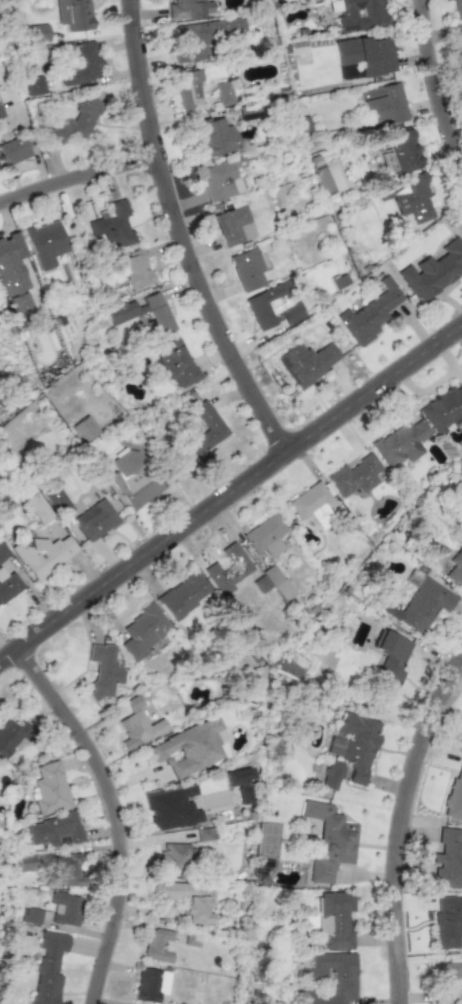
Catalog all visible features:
building: (457, 8)
building: (189, 9)
building: (73, 14)
building: (361, 15)
building: (38, 33)
building: (203, 36)
building: (461, 41)
building: (366, 54)
building: (81, 64)
building: (34, 85)
road: (433, 87)
building: (189, 89)
building: (224, 93)
building: (383, 103)
building: (1, 112)
building: (74, 121)
building: (216, 136)
building: (13, 150)
building: (400, 151)
building: (220, 179)
building: (322, 179)
road: (75, 181)
building: (409, 197)
building: (113, 225)
building: (233, 225)
road: (177, 236)
building: (45, 243)
building: (12, 265)
building: (133, 269)
building: (247, 269)
building: (436, 270)
building: (21, 305)
building: (273, 306)
building: (144, 313)
building: (366, 317)
building: (306, 362)
building: (174, 363)
building: (443, 409)
building: (205, 431)
building: (399, 443)
building: (354, 475)
building: (134, 478)
road: (230, 490)
building: (57, 499)
building: (311, 504)
building: (37, 508)
building: (95, 520)
building: (265, 535)
building: (3, 551)
building: (43, 554)
building: (228, 568)
building: (455, 568)
building: (278, 582)
building: (8, 585)
building: (183, 595)
building: (420, 605)
building: (143, 631)
building: (389, 664)
building: (103, 670)
building: (138, 725)
building: (12, 736)
building: (358, 745)
building: (189, 747)
building: (332, 775)
building: (236, 777)
building: (50, 788)
building: (455, 793)
building: (172, 807)
road: (112, 812)
road: (399, 823)
building: (54, 830)
building: (329, 840)
building: (173, 858)
building: (448, 859)
building: (26, 862)
building: (264, 868)
building: (69, 871)
building: (187, 898)
building: (65, 908)
building: (31, 916)
building: (334, 919)
building: (447, 920)
building: (159, 945)
building: (48, 968)
building: (342, 974)
building: (449, 981)
building: (150, 984)

